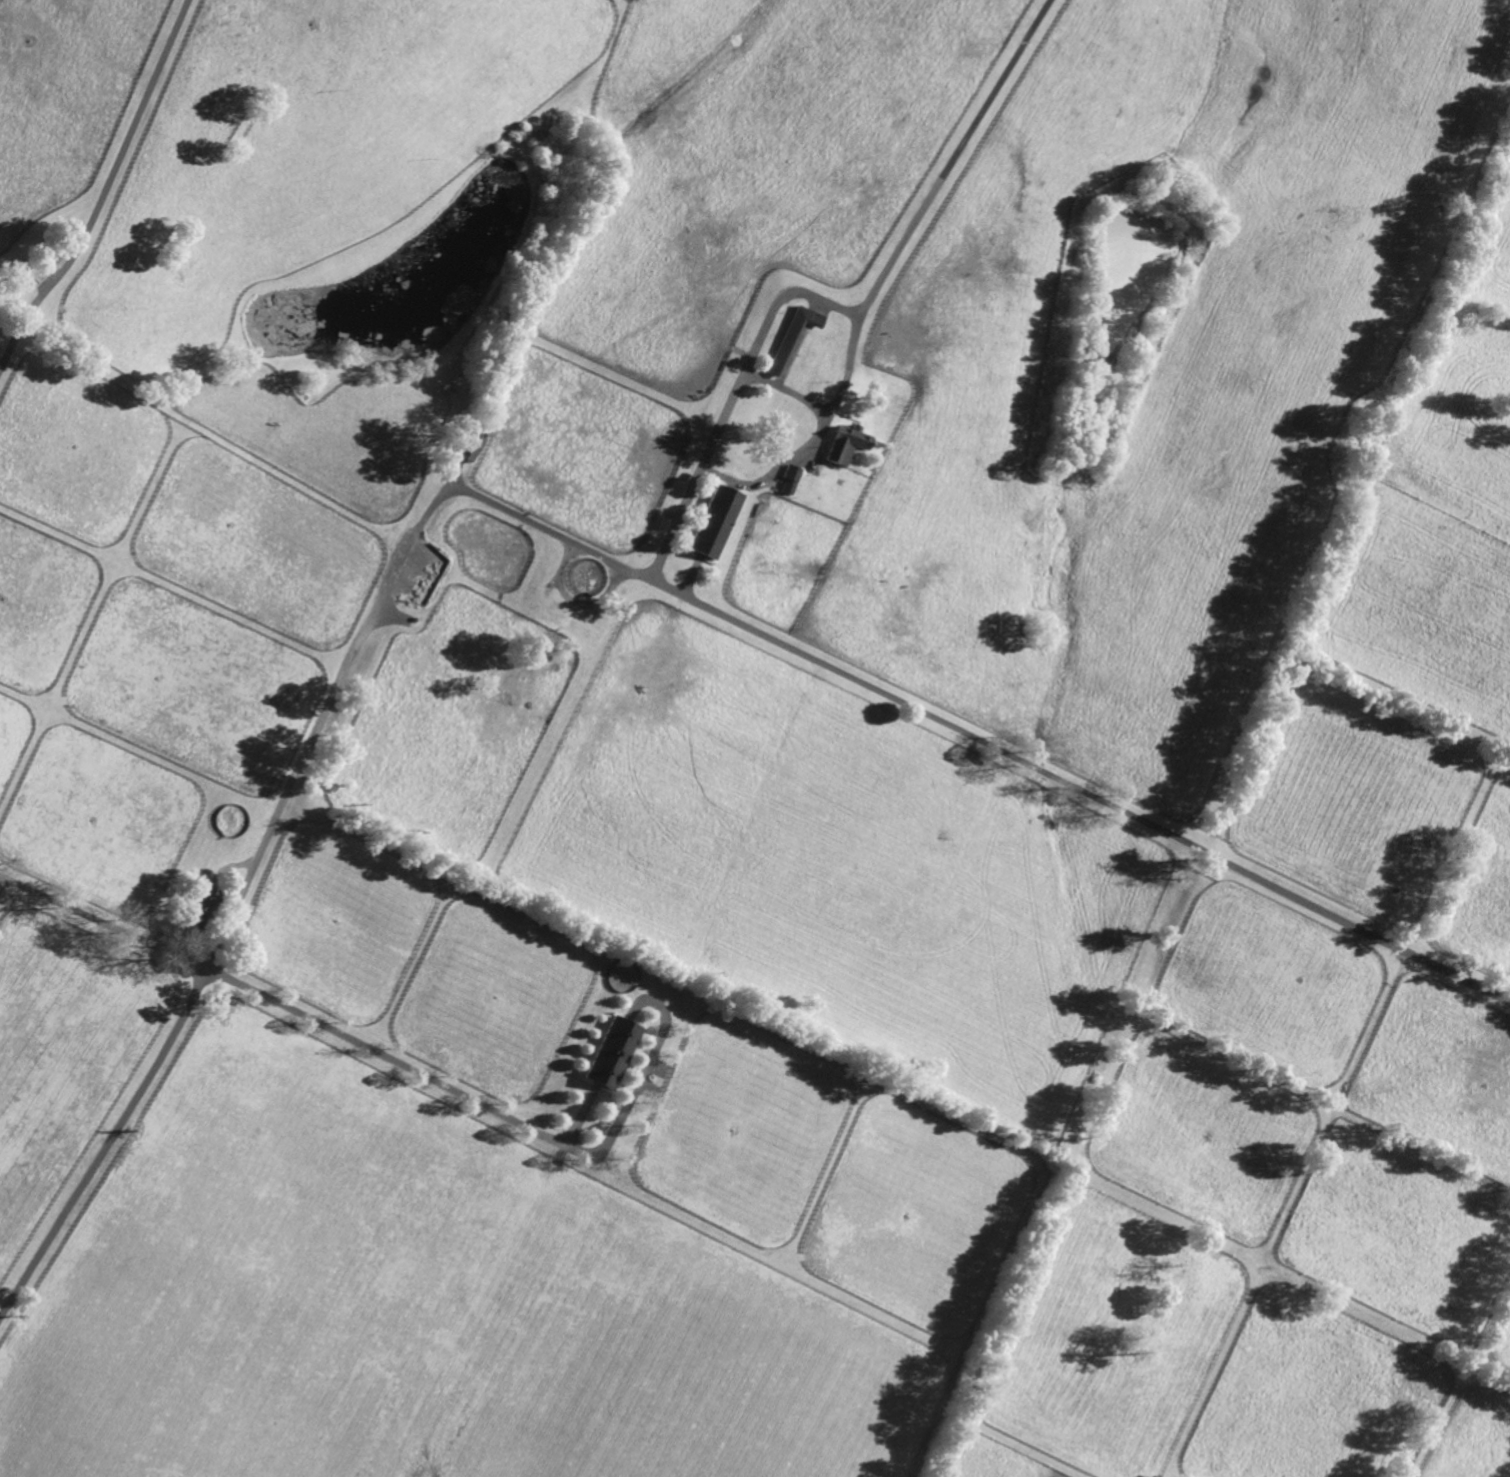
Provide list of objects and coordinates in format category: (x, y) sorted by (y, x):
road: (105, 189)
road: (856, 322)
building: (792, 337)
road: (755, 345)
road: (785, 392)
building: (844, 444)
building: (468, 446)
road: (454, 475)
building: (789, 479)
building: (714, 521)
road: (556, 533)
road: (572, 601)
road: (1, 881)
building: (197, 908)
building: (164, 920)
road: (103, 922)
building: (157, 929)
building: (611, 1052)
road: (407, 1066)
road: (638, 1079)

